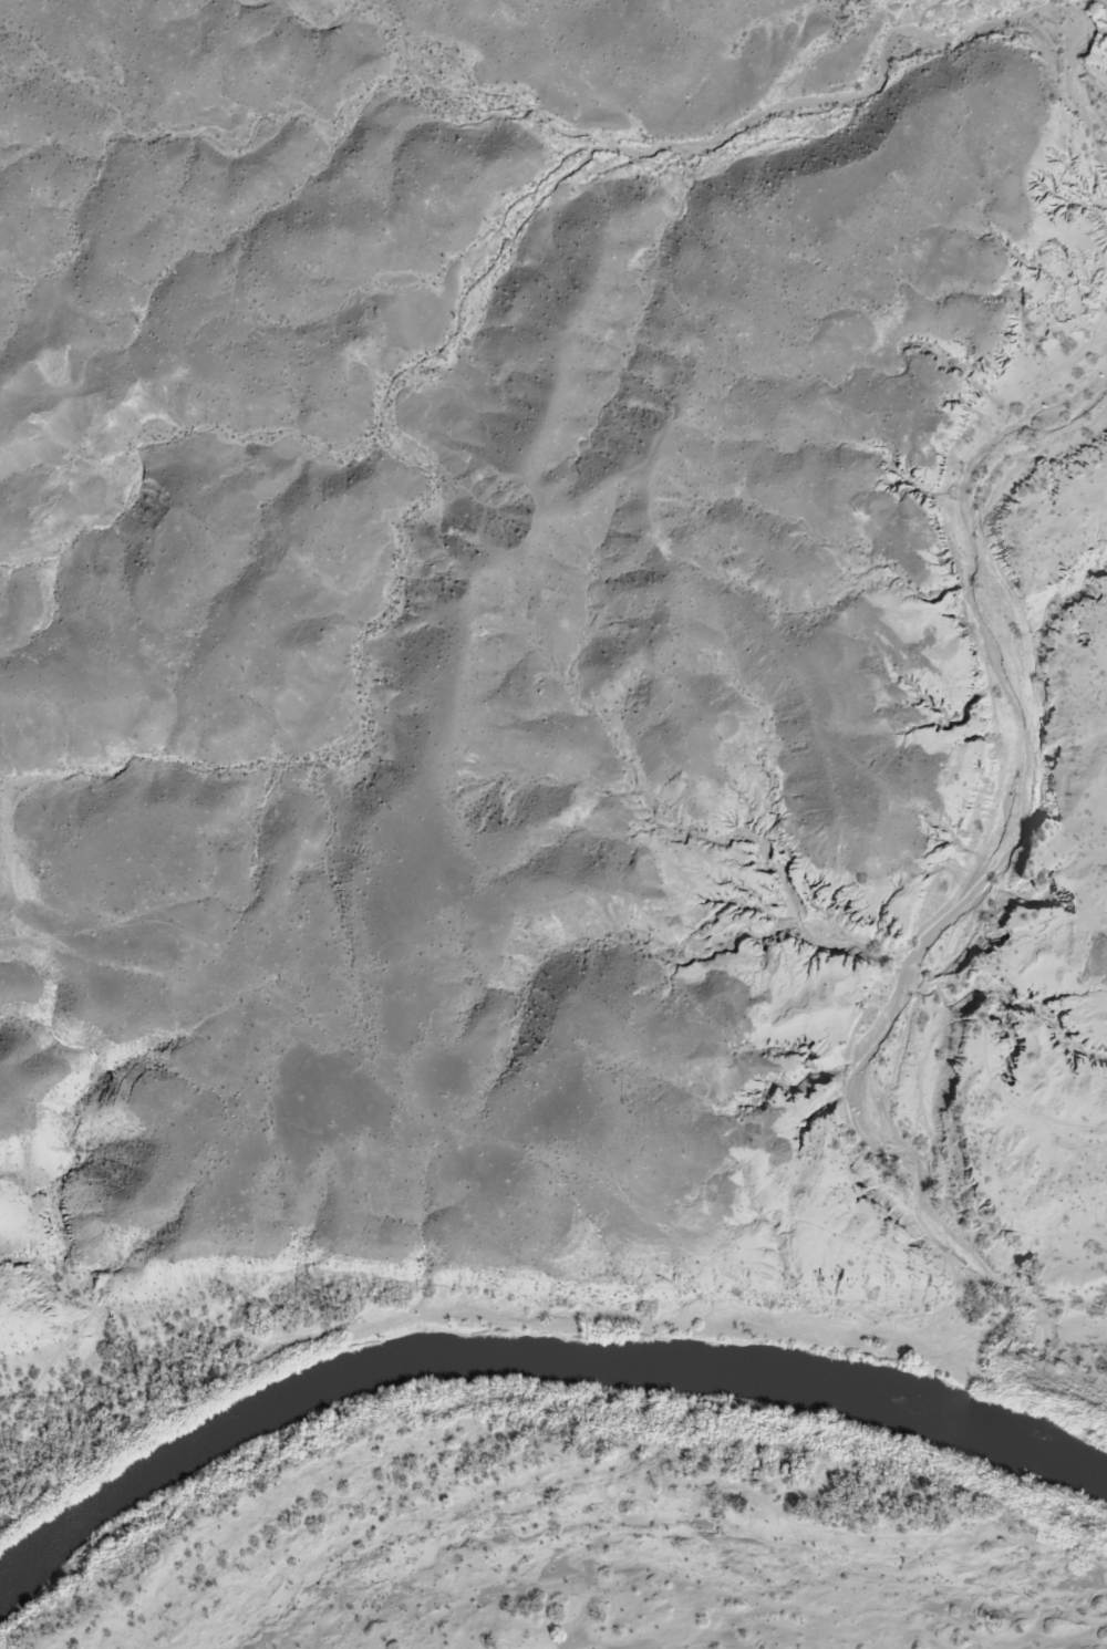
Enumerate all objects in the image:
river: (526, 1356)

